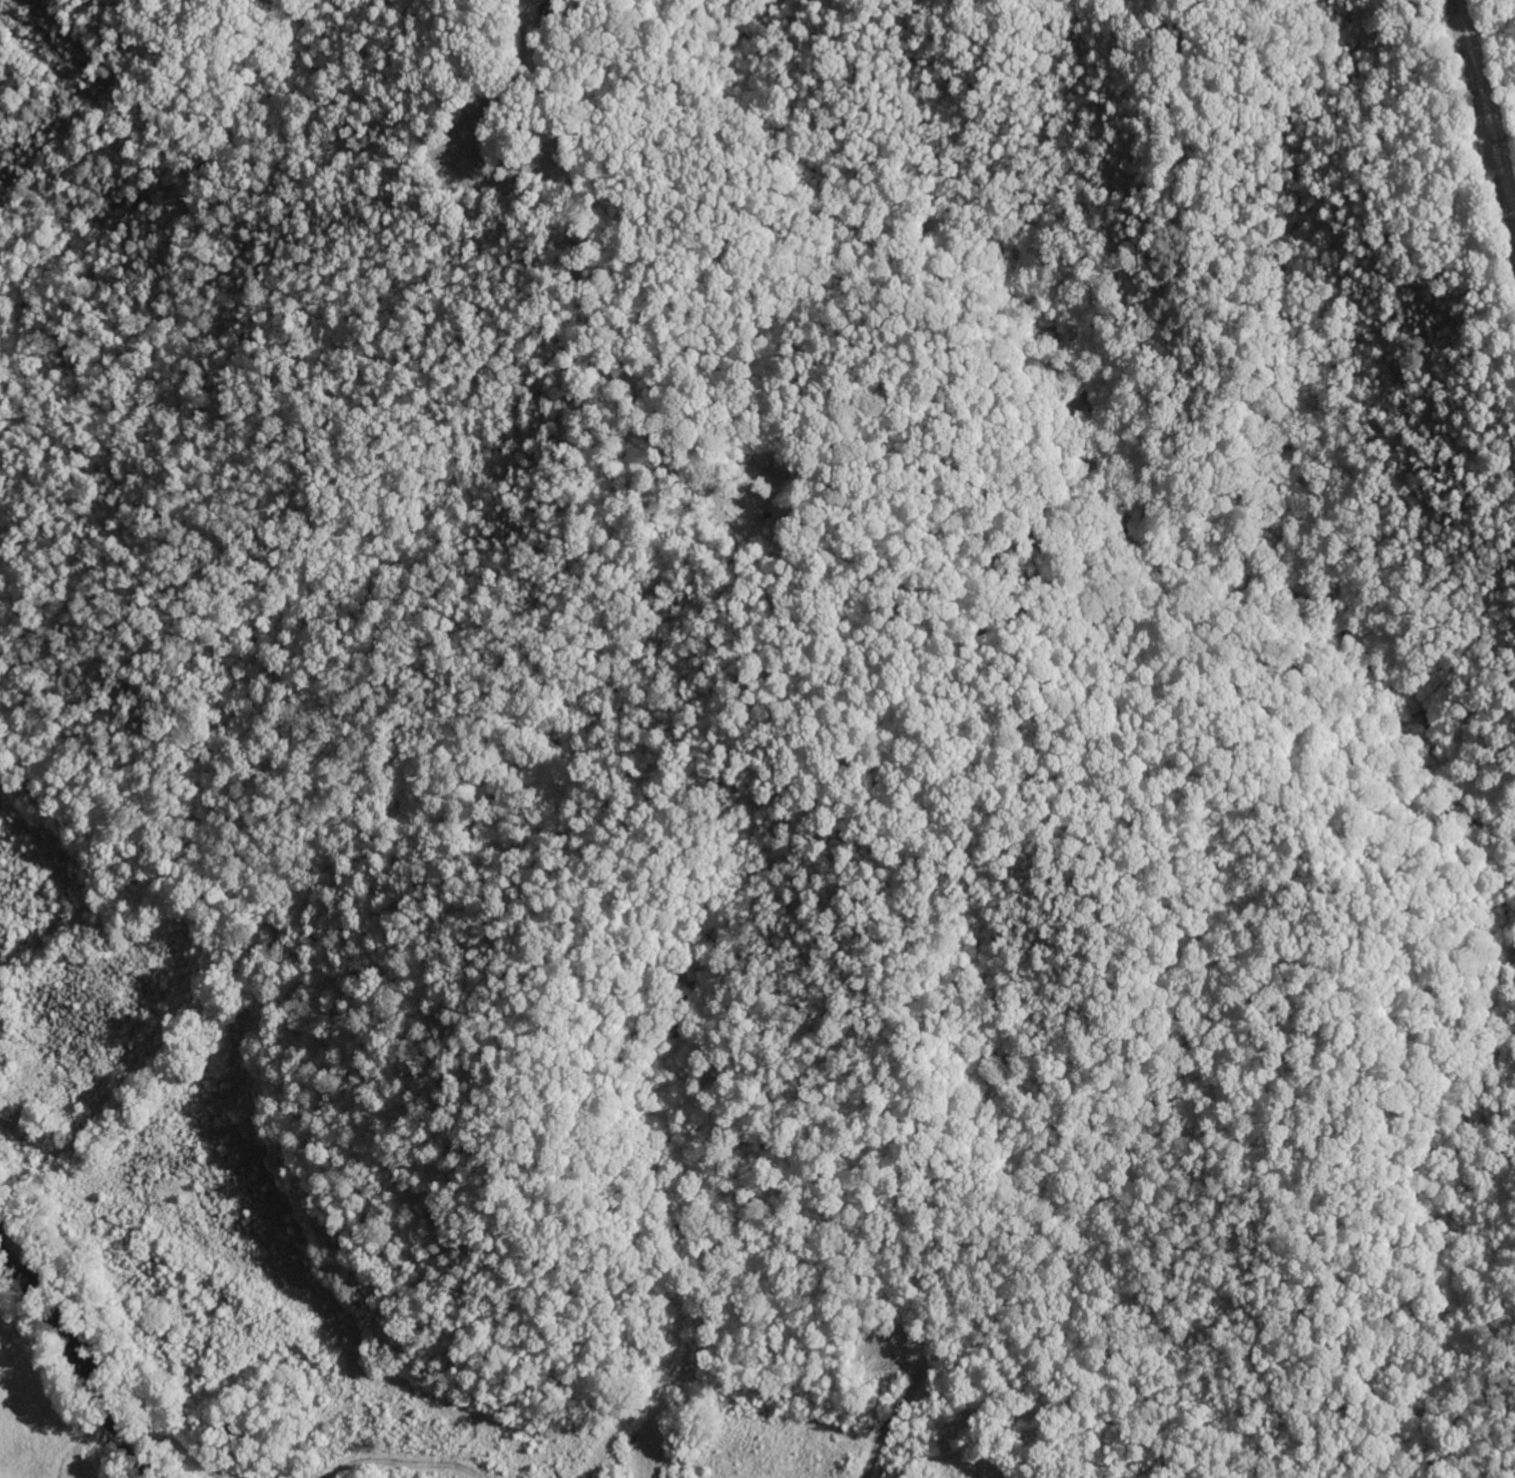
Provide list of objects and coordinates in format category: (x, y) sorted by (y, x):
road: (131, 1324)

